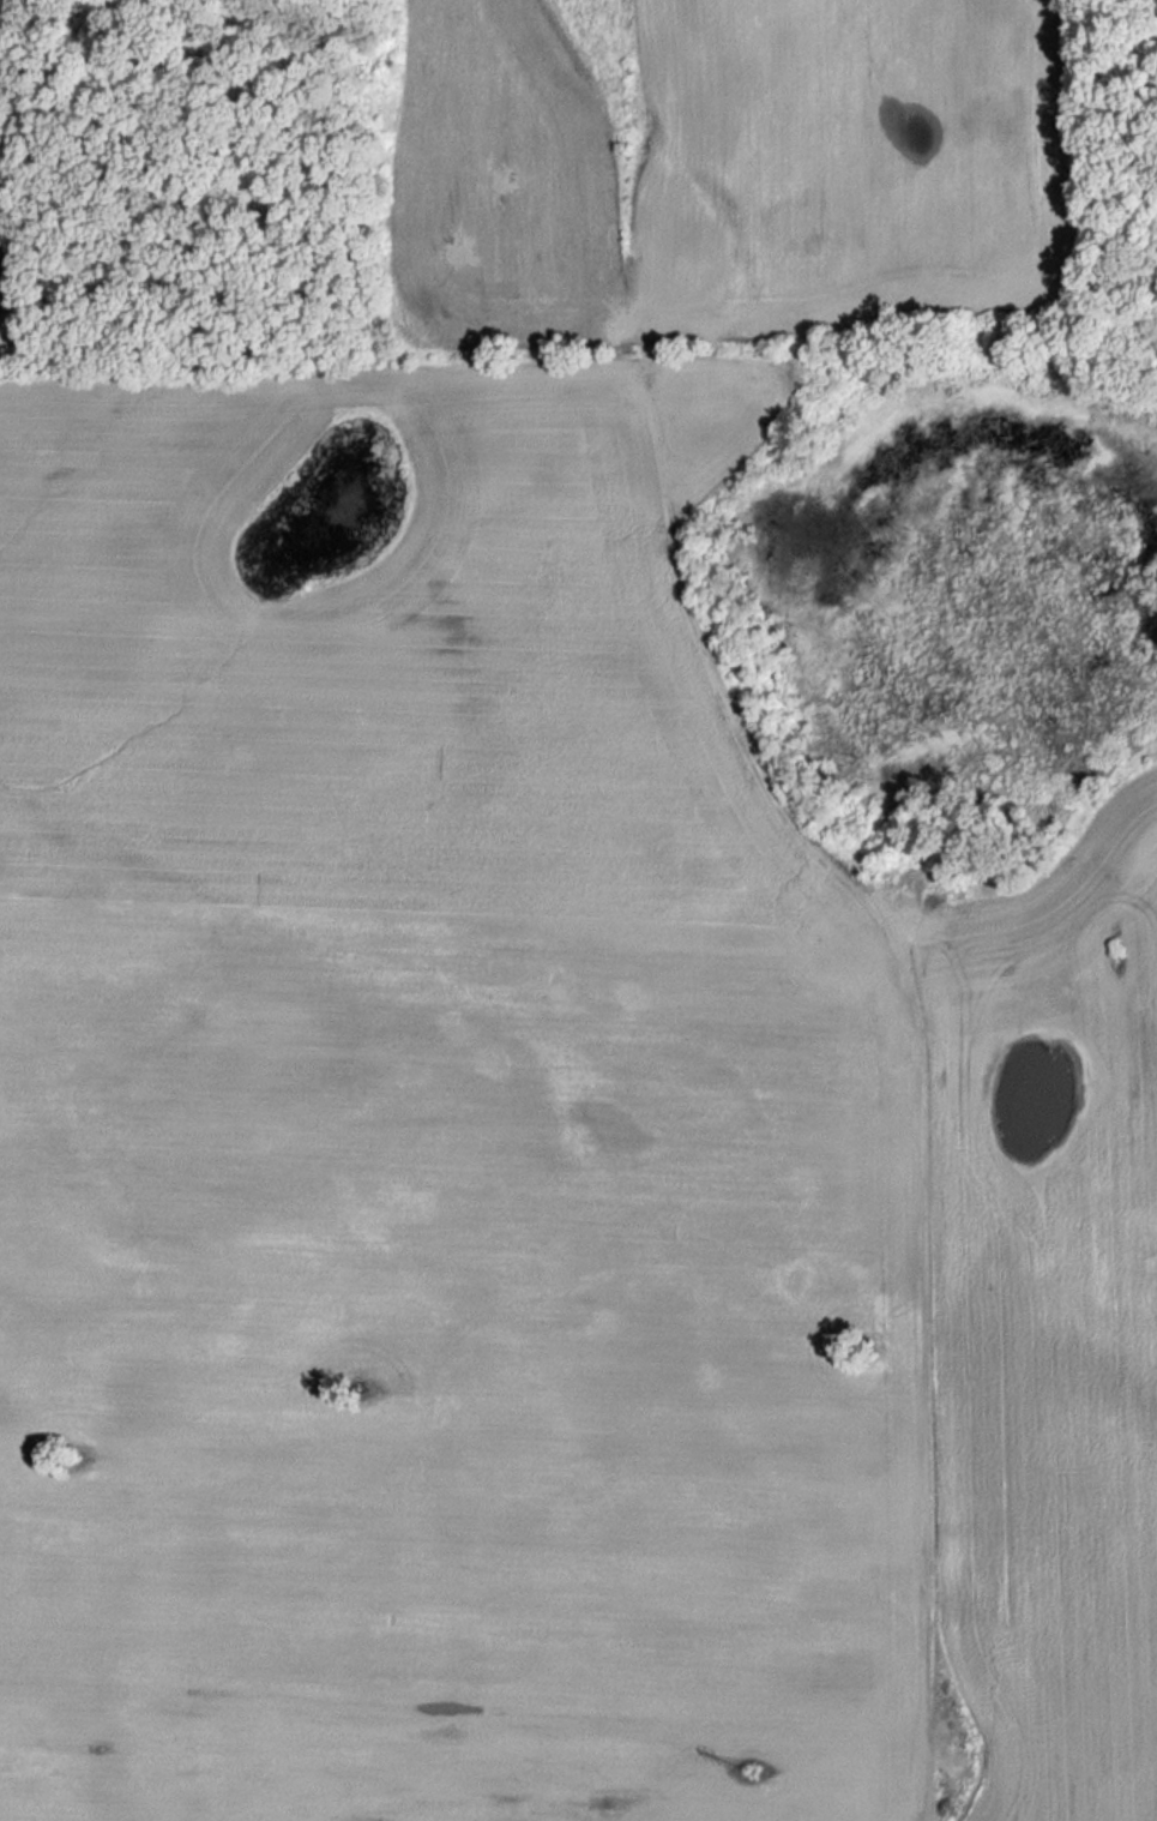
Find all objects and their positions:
crop: (414, 714)
crop: (1045, 1318)
crop: (459, 1434)
power tower: (749, 1771)

